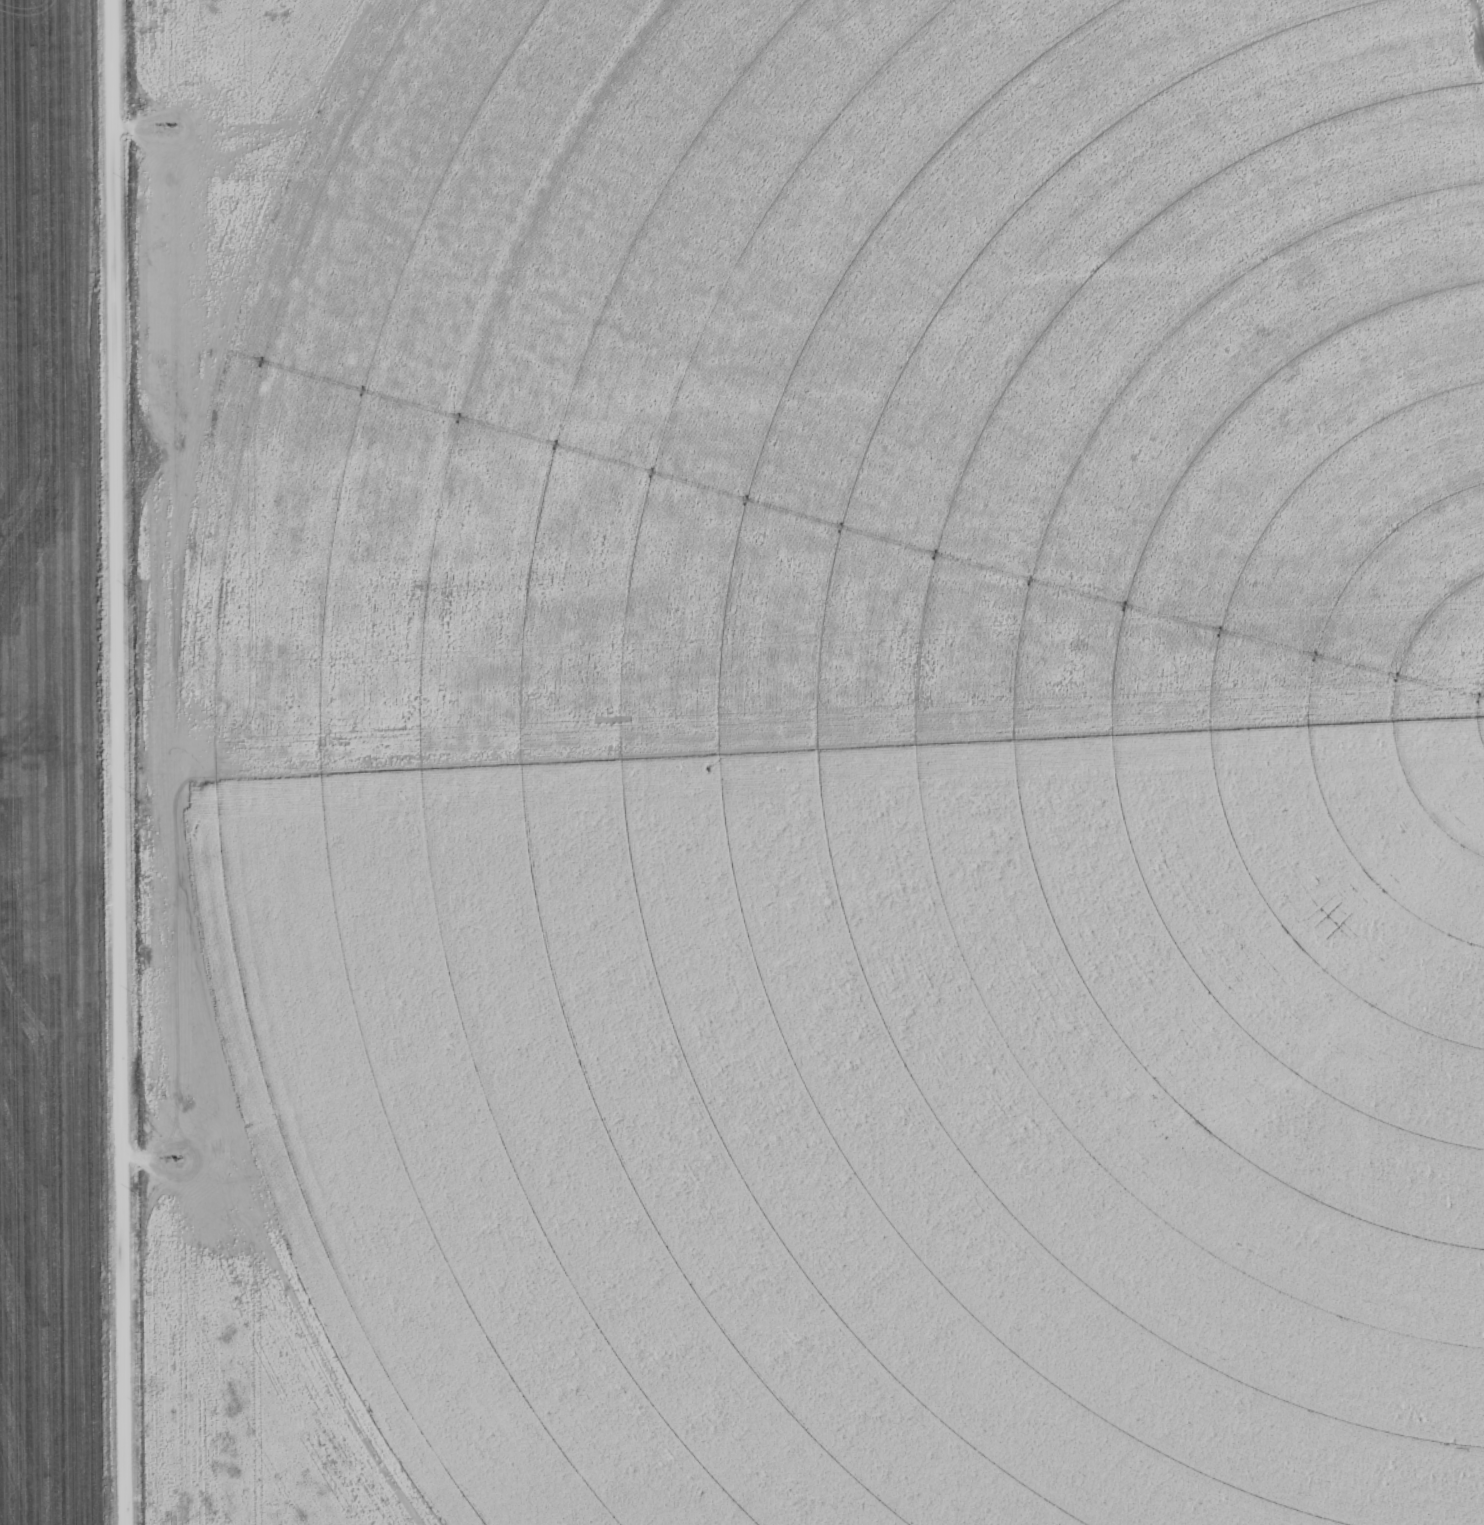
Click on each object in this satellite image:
road: (127, 762)

